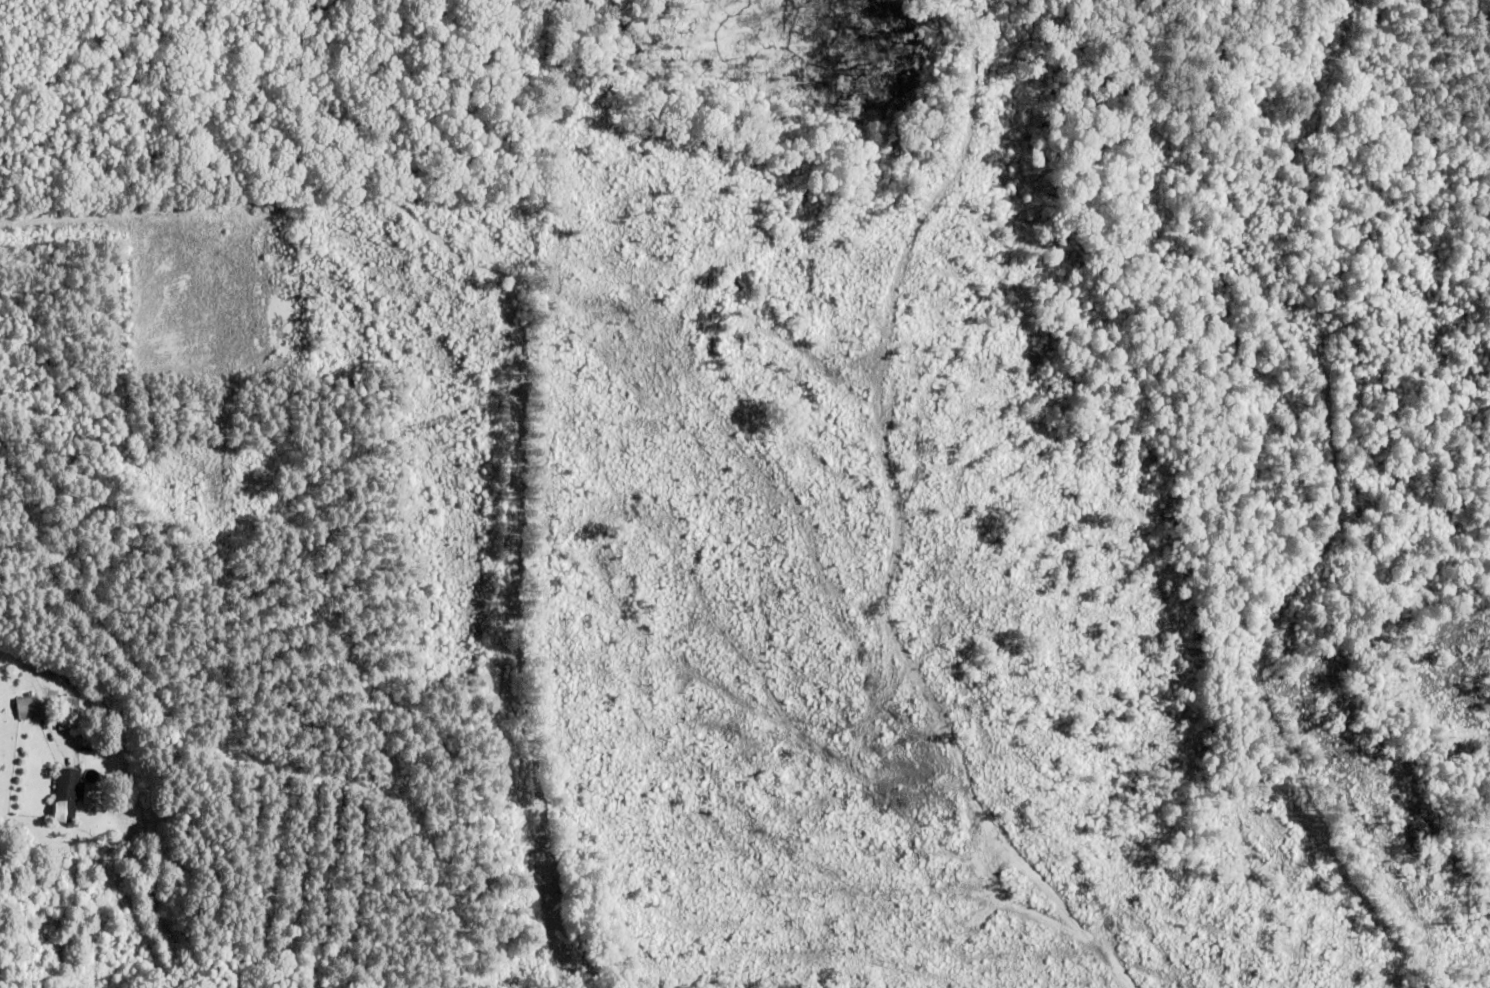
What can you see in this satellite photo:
building: (72, 705)
building: (28, 707)
building: (66, 721)
building: (69, 793)

